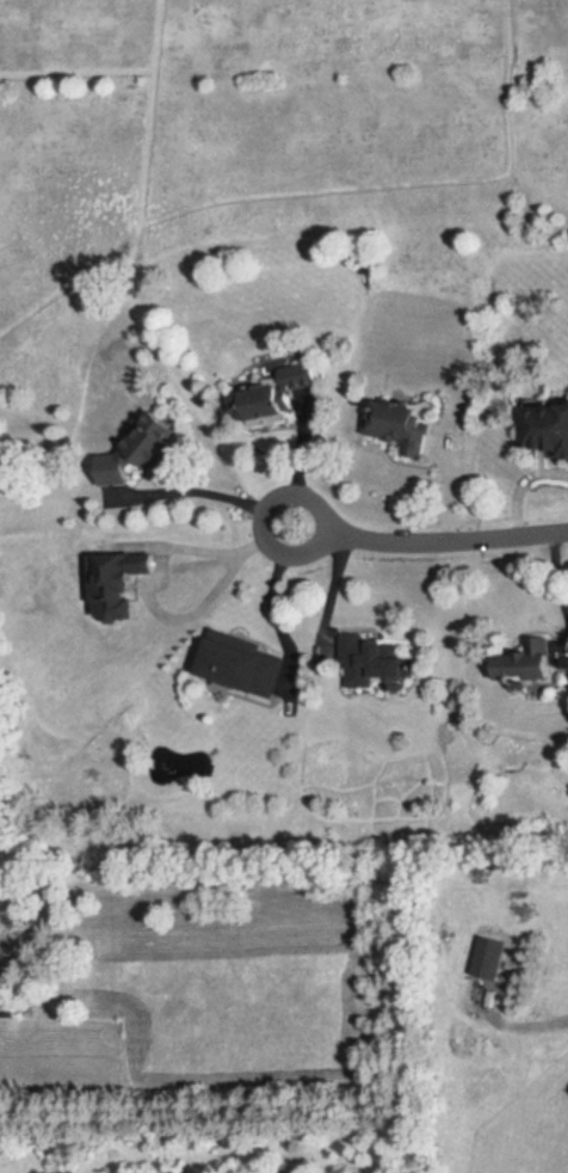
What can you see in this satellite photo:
building: (282, 391)
building: (407, 425)
building: (548, 425)
building: (144, 449)
road: (301, 462)
road: (521, 485)
road: (210, 491)
road: (431, 538)
road: (212, 552)
building: (117, 586)
road: (268, 590)
building: (372, 662)
building: (529, 662)
building: (245, 665)
building: (490, 958)
building: (10, 1007)

